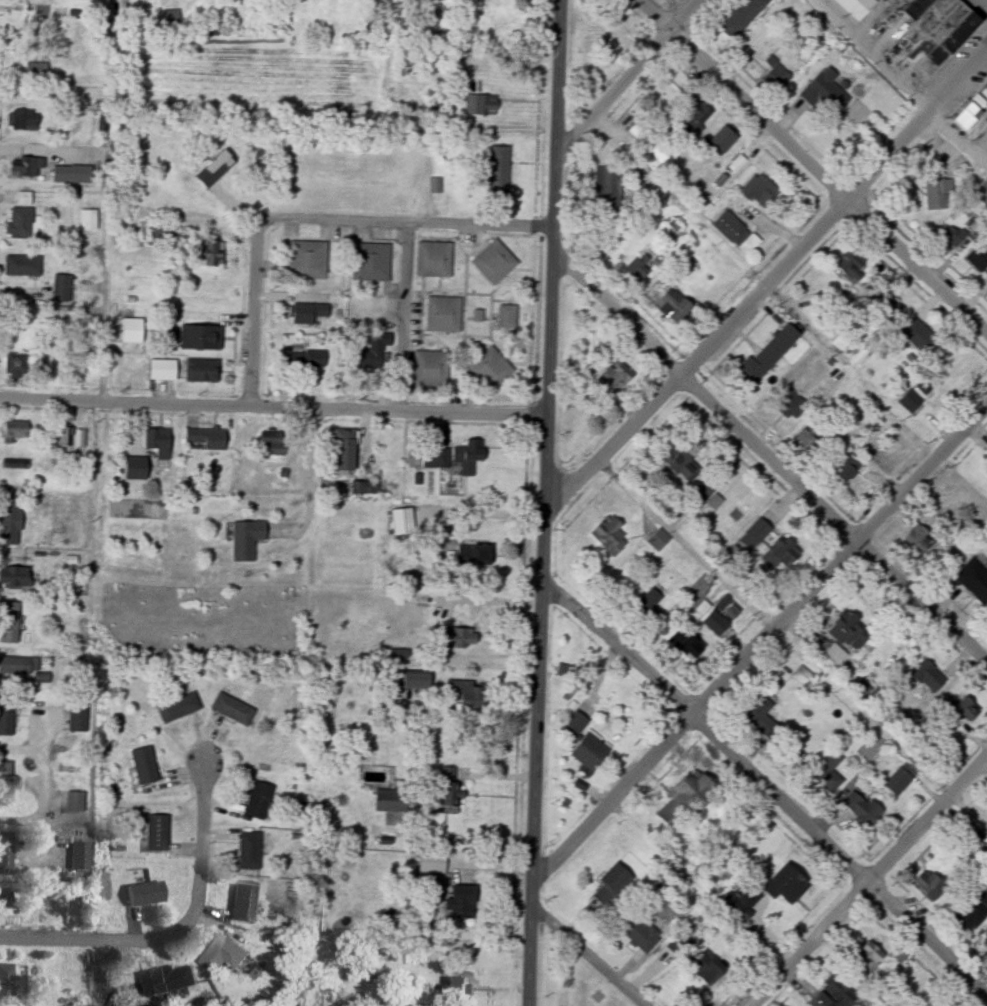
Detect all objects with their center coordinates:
building: (856, 8)
building: (742, 18)
building: (170, 20)
building: (935, 32)
building: (825, 33)
building: (612, 39)
building: (18, 47)
road: (507, 60)
building: (36, 72)
building: (775, 75)
road: (903, 79)
road: (632, 81)
building: (826, 93)
building: (985, 93)
building: (481, 106)
building: (971, 113)
building: (695, 118)
building: (22, 122)
building: (723, 141)
building: (27, 168)
road: (807, 168)
building: (216, 171)
building: (499, 172)
building: (61, 175)
building: (607, 187)
building: (760, 191)
building: (937, 194)
building: (981, 194)
building: (24, 199)
building: (89, 220)
building: (21, 224)
road: (404, 226)
building: (736, 232)
building: (164, 234)
building: (955, 240)
building: (207, 254)
building: (978, 258)
building: (434, 260)
building: (308, 261)
building: (494, 263)
building: (851, 263)
building: (371, 264)
building: (23, 266)
building: (636, 270)
road: (764, 286)
building: (62, 289)
building: (676, 307)
building: (888, 307)
road: (95, 310)
building: (309, 314)
building: (444, 315)
building: (837, 315)
road: (614, 317)
road: (255, 318)
building: (507, 318)
road: (400, 320)
building: (130, 337)
building: (201, 339)
building: (921, 339)
building: (371, 351)
building: (768, 356)
building: (303, 359)
building: (16, 366)
building: (432, 369)
building: (163, 370)
building: (490, 370)
building: (202, 372)
building: (619, 377)
building: (910, 401)
building: (791, 404)
road: (273, 412)
building: (16, 432)
building: (810, 436)
building: (65, 437)
building: (207, 439)
building: (159, 443)
building: (272, 446)
building: (345, 450)
building: (468, 456)
building: (436, 458)
building: (681, 465)
building: (847, 468)
building: (136, 469)
building: (366, 489)
road: (308, 490)
building: (705, 492)
road: (543, 502)
road: (480, 517)
building: (10, 521)
building: (403, 522)
road: (833, 523)
building: (756, 535)
building: (610, 536)
building: (917, 539)
building: (247, 540)
building: (659, 540)
road: (687, 547)
building: (783, 552)
building: (475, 555)
building: (15, 576)
building: (974, 581)
building: (647, 604)
road: (488, 606)
building: (9, 623)
building: (716, 624)
building: (848, 632)
building: (456, 637)
building: (686, 644)
road: (759, 647)
building: (833, 658)
building: (18, 666)
building: (928, 677)
building: (417, 681)
building: (466, 694)
building: (179, 709)
building: (233, 710)
building: (7, 716)
road: (480, 716)
building: (759, 717)
building: (78, 718)
building: (578, 721)
road: (882, 727)
building: (590, 752)
building: (938, 754)
building: (145, 766)
building: (829, 773)
building: (899, 781)
building: (6, 783)
road: (47, 785)
building: (448, 786)
road: (763, 790)
building: (687, 799)
building: (259, 801)
building: (393, 801)
building: (75, 802)
building: (862, 808)
building: (158, 833)
building: (967, 835)
road: (461, 837)
building: (6, 850)
building: (249, 851)
building: (80, 853)
building: (612, 884)
building: (787, 884)
road: (874, 884)
building: (930, 884)
building: (146, 892)
building: (5, 897)
building: (244, 901)
building: (463, 903)
building: (744, 907)
building: (973, 912)
building: (640, 934)
road: (175, 937)
building: (682, 941)
building: (985, 949)
road: (482, 951)
building: (226, 953)
road: (583, 956)
building: (869, 956)
building: (707, 968)
building: (171, 979)
building: (6, 983)
building: (461, 987)
building: (836, 995)

